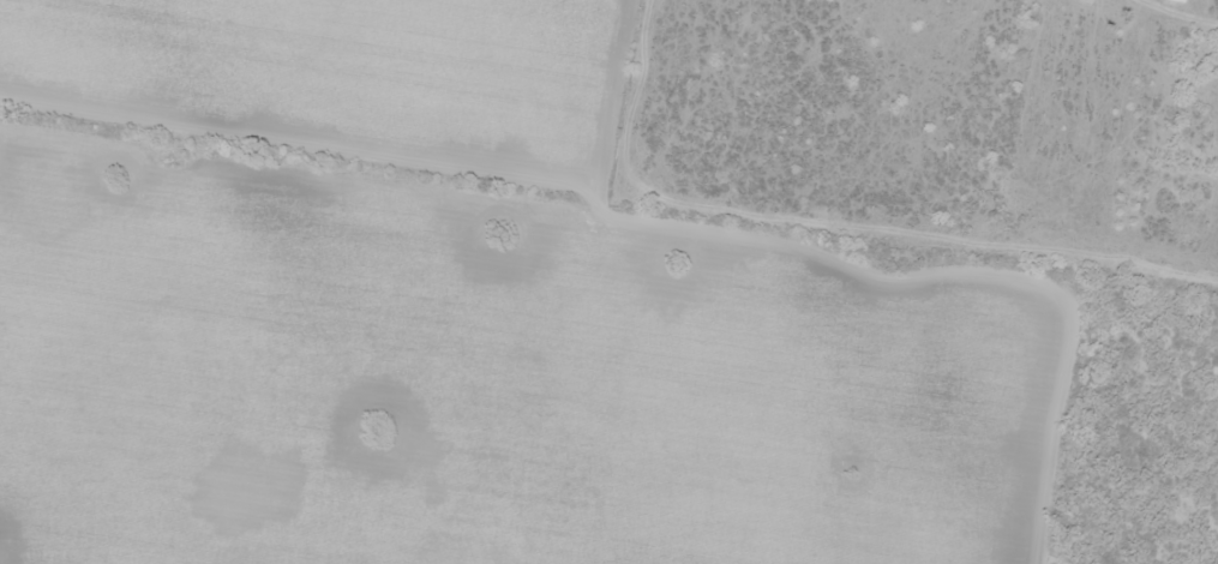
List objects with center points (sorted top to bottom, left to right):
building: (1178, 0)
road: (900, 248)

